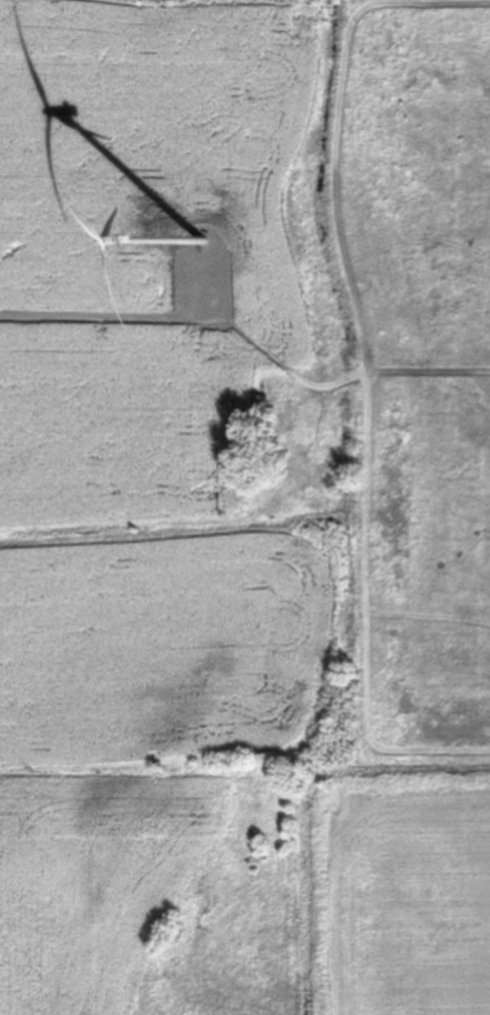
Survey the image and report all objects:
wind turbine: (199, 241)
road: (134, 324)

